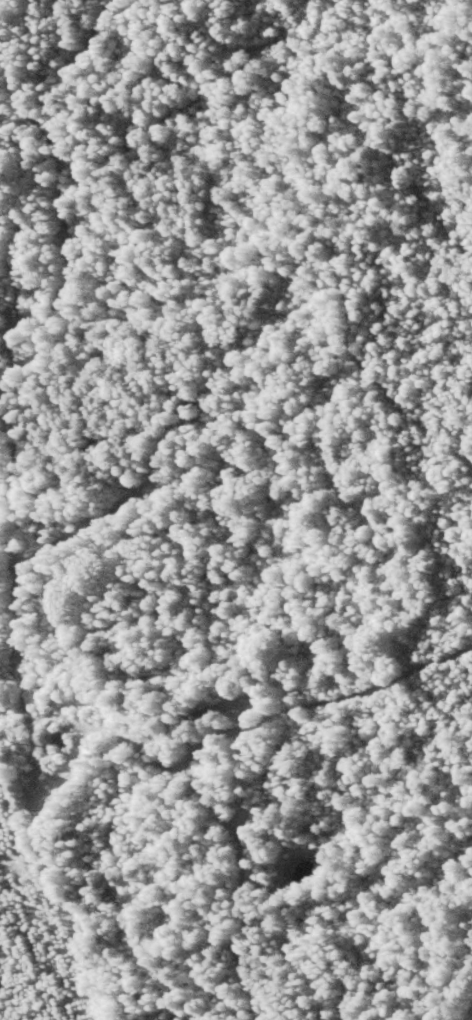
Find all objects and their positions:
road: (42, 918)

